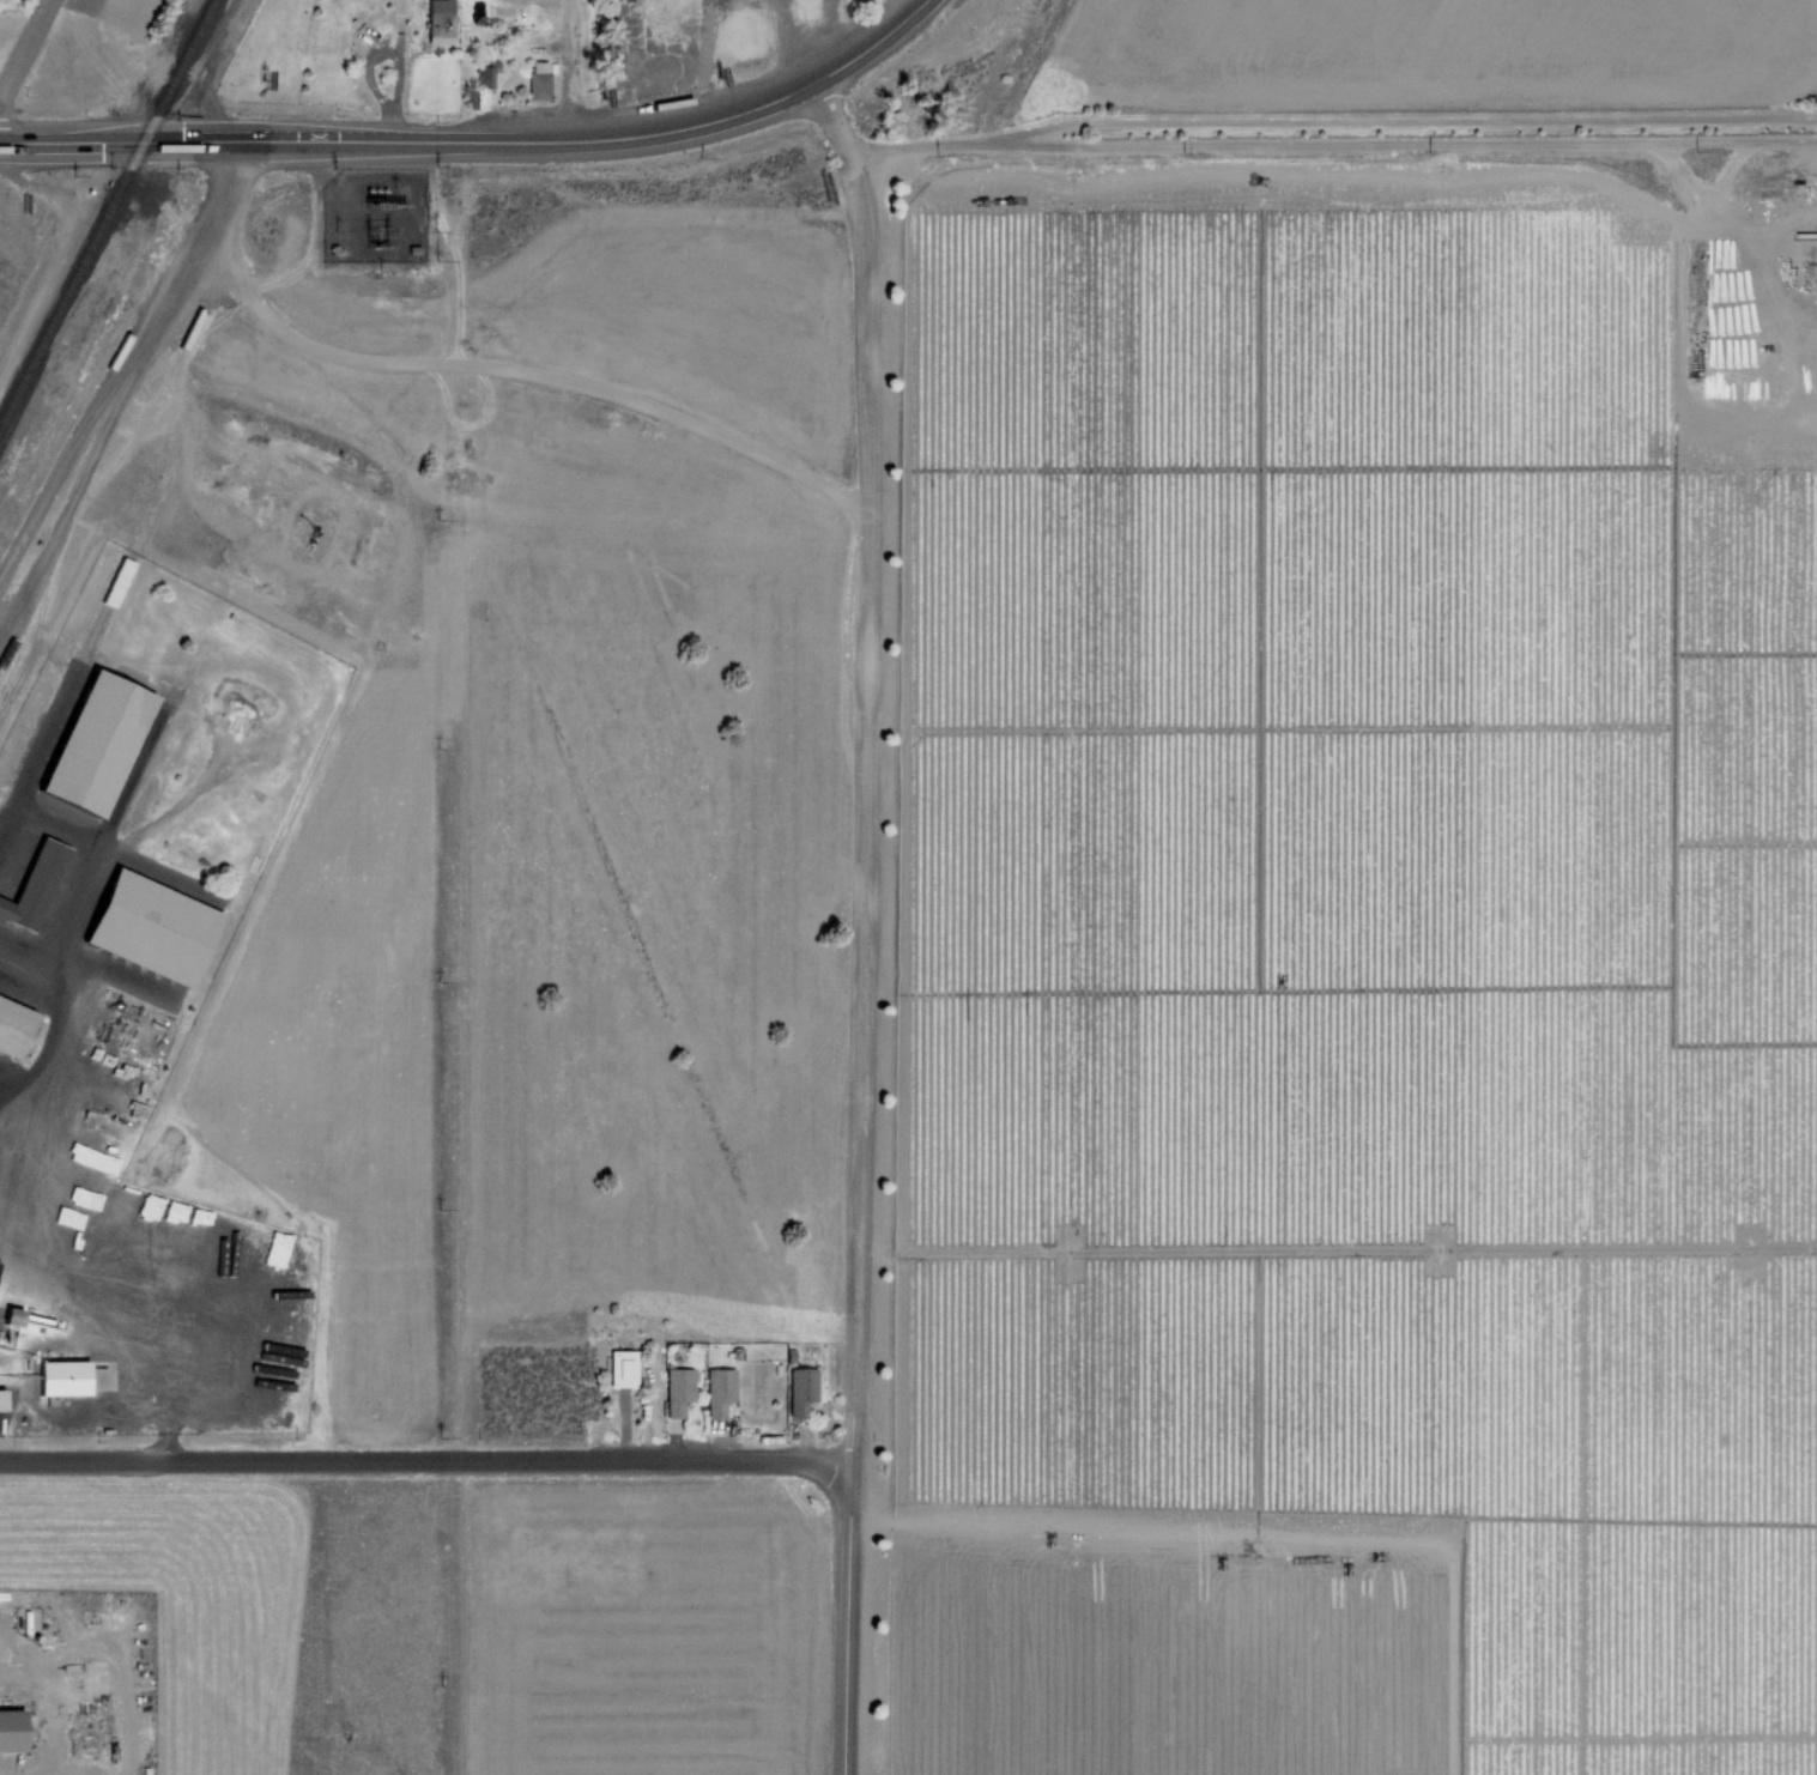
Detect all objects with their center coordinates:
road: (775, 2)
road: (902, 11)
building: (437, 19)
road: (24, 49)
road: (783, 50)
building: (481, 75)
building: (535, 84)
road: (1439, 126)
road: (1035, 137)
road: (552, 146)
road: (68, 147)
road: (1300, 147)
railway: (105, 210)
power substation: (368, 216)
building: (103, 747)
road: (865, 769)
building: (35, 884)
building: (158, 933)
building: (18, 1035)
building: (0, 1170)
building: (808, 1315)
building: (18, 1317)
building: (622, 1369)
building: (68, 1380)
building: (719, 1389)
building: (678, 1391)
building: (800, 1391)
building: (5, 1406)
road: (428, 1464)
road: (849, 1617)
building: (13, 1738)

